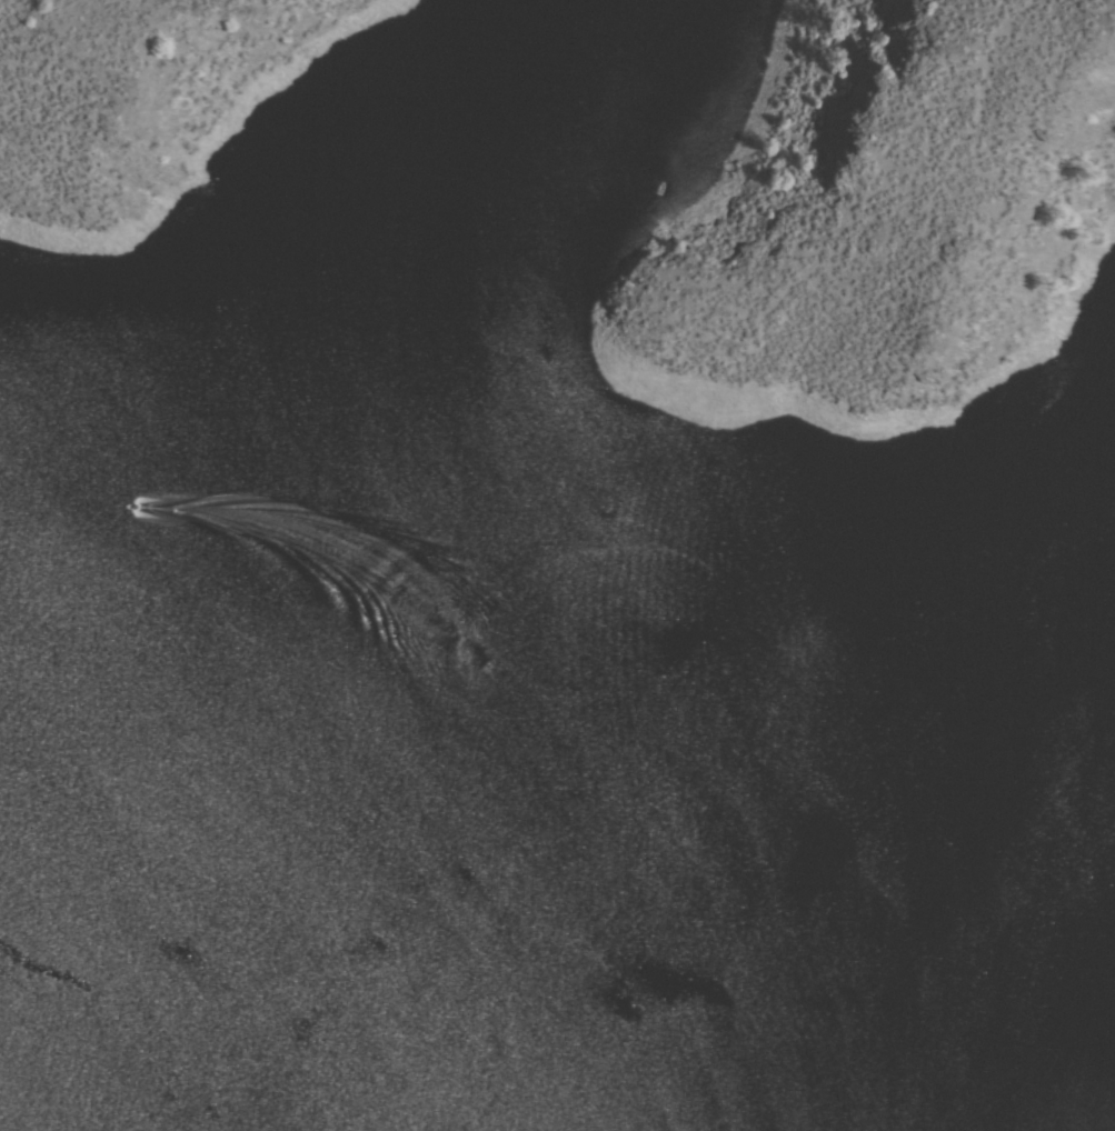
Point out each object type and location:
road: (1024, 38)
river: (889, 854)

